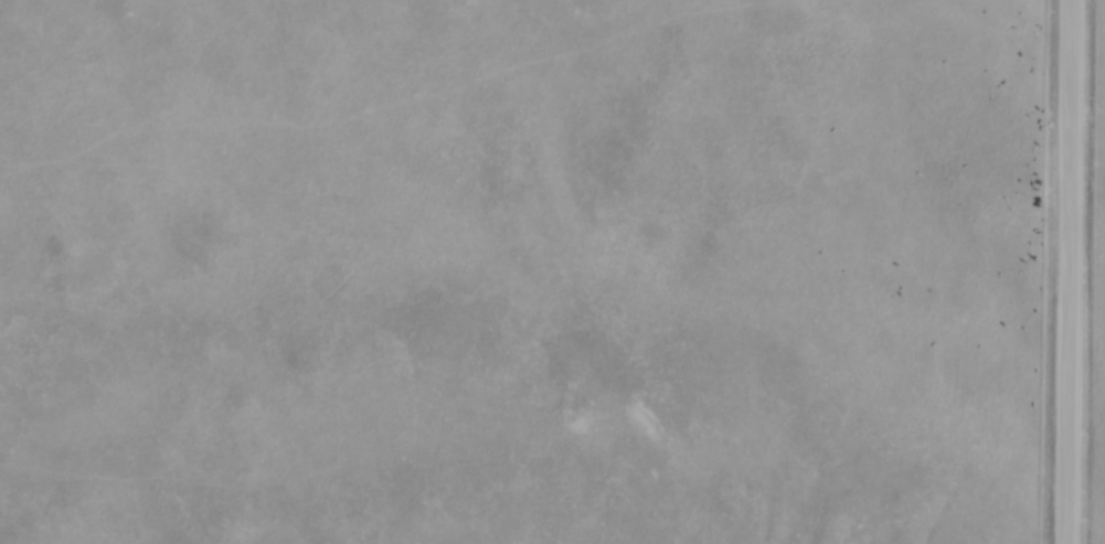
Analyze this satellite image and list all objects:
road: (1069, 271)

